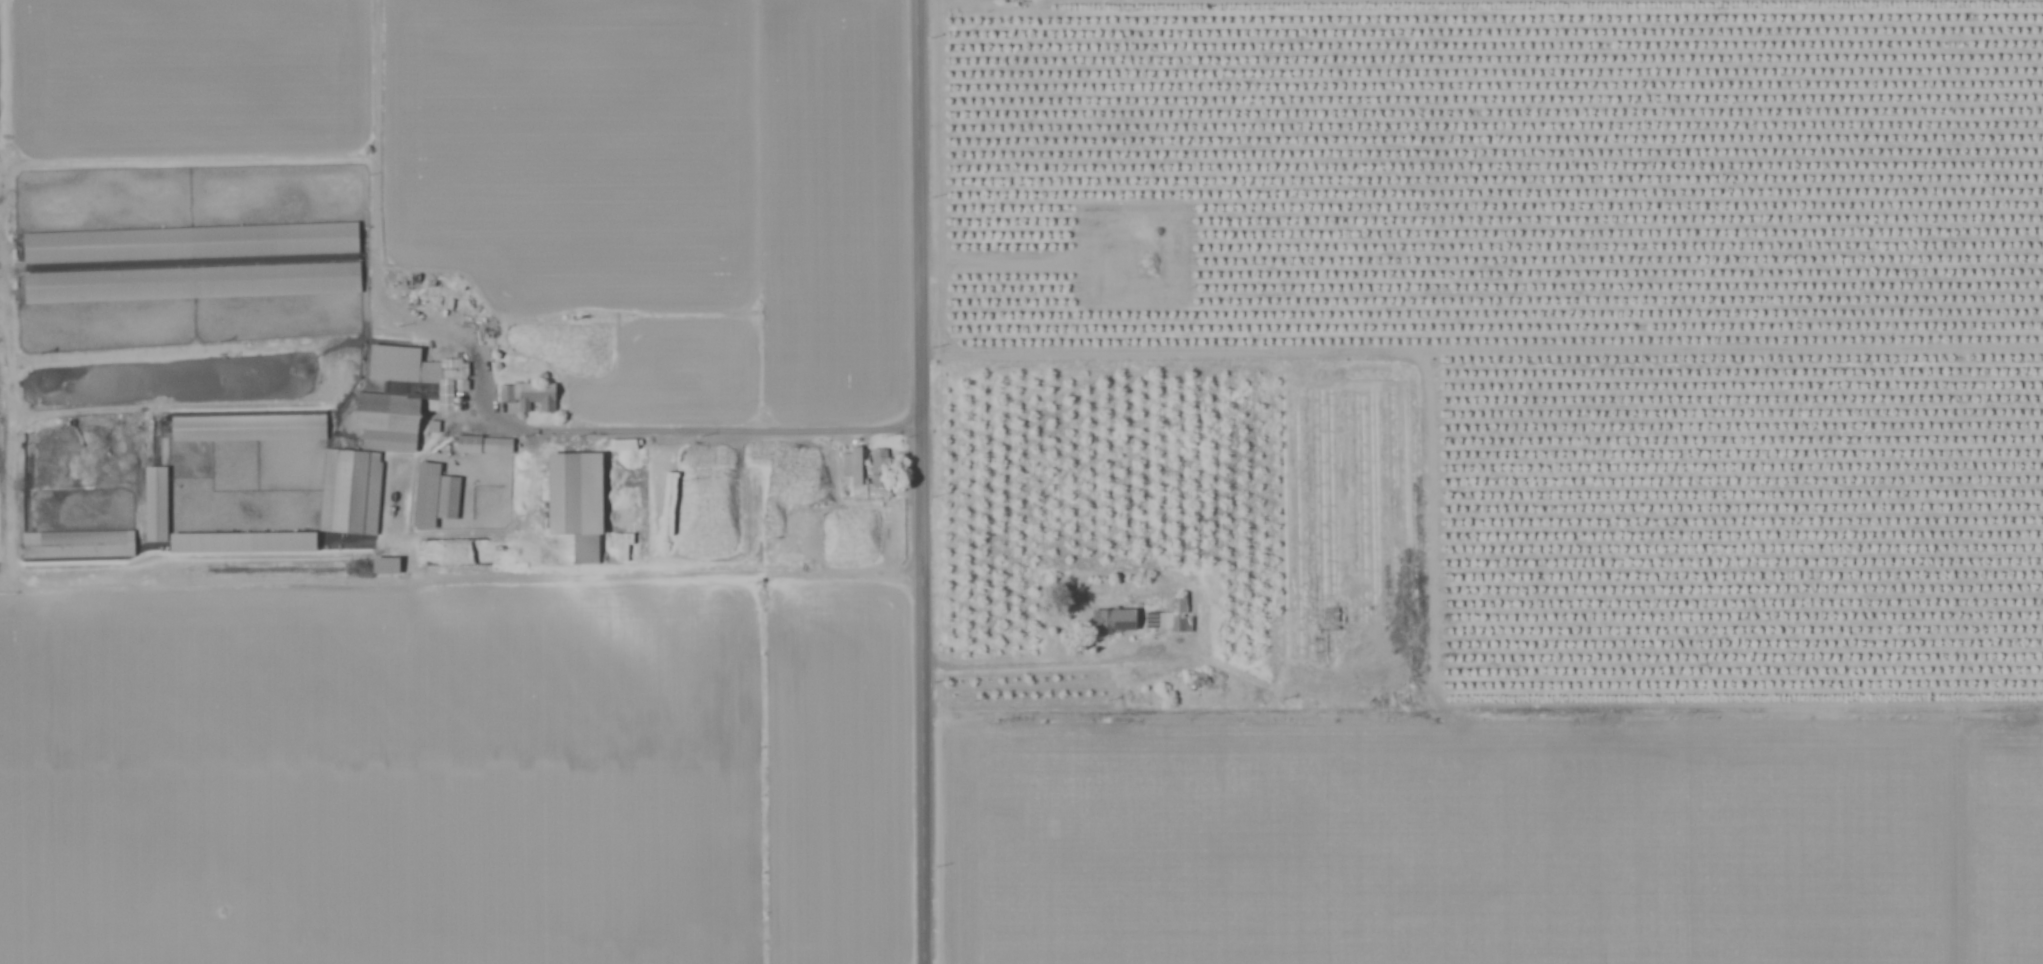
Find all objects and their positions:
road: (376, 80)
building: (191, 245)
building: (192, 284)
building: (527, 396)
building: (248, 429)
road: (528, 429)
building: (381, 434)
building: (482, 444)
building: (851, 465)
building: (878, 467)
road: (923, 481)
building: (749, 487)
building: (432, 495)
building: (573, 502)
building: (156, 506)
building: (78, 546)
building: (385, 565)
building: (1177, 616)
building: (1111, 621)

